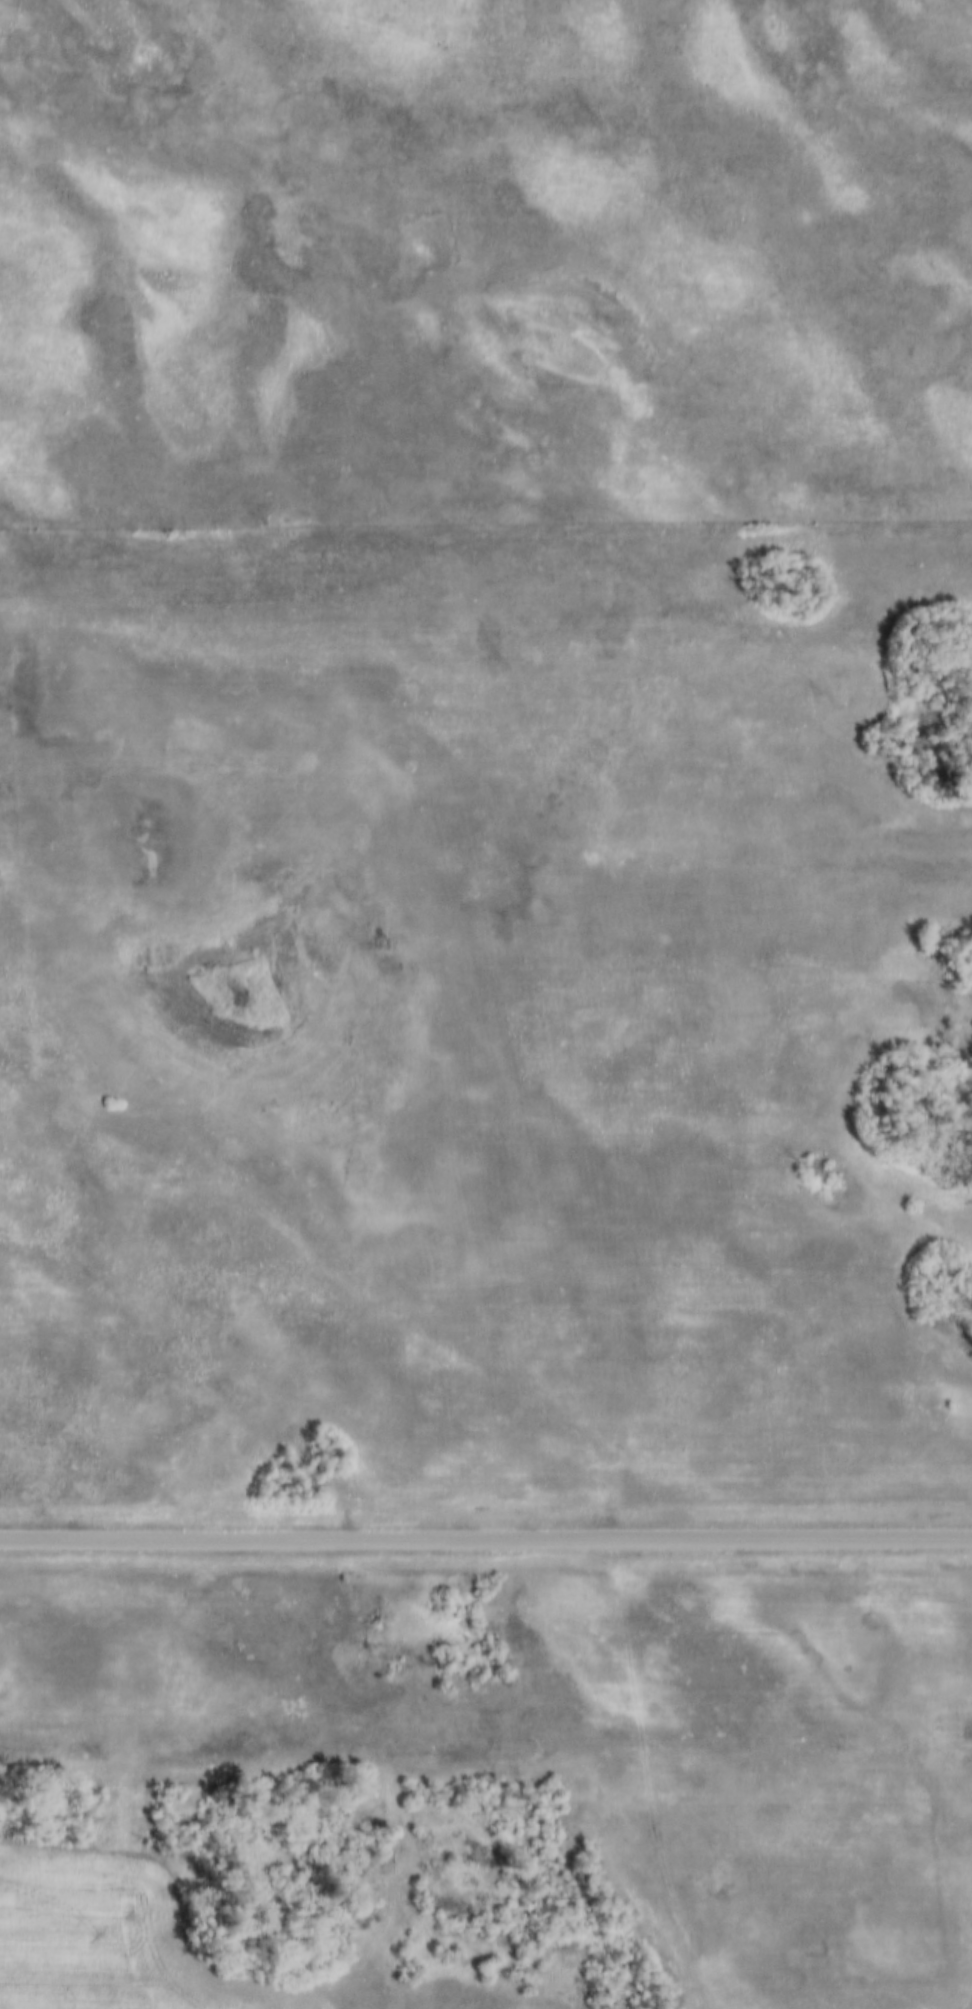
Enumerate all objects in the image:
road: (486, 1538)

